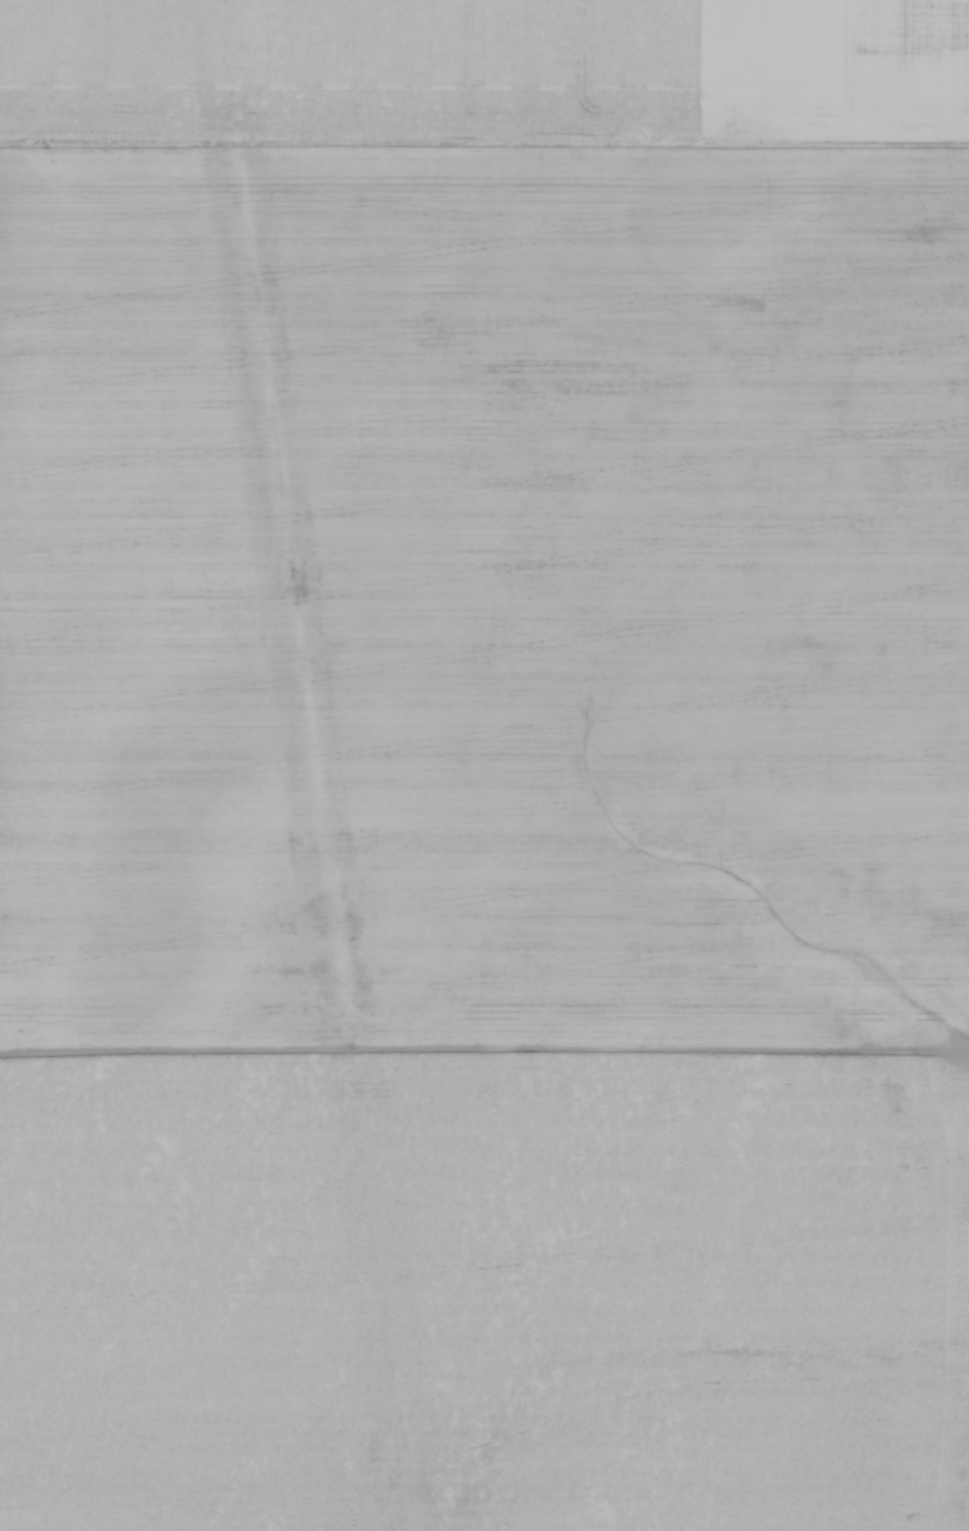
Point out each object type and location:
crop: (485, 1295)

